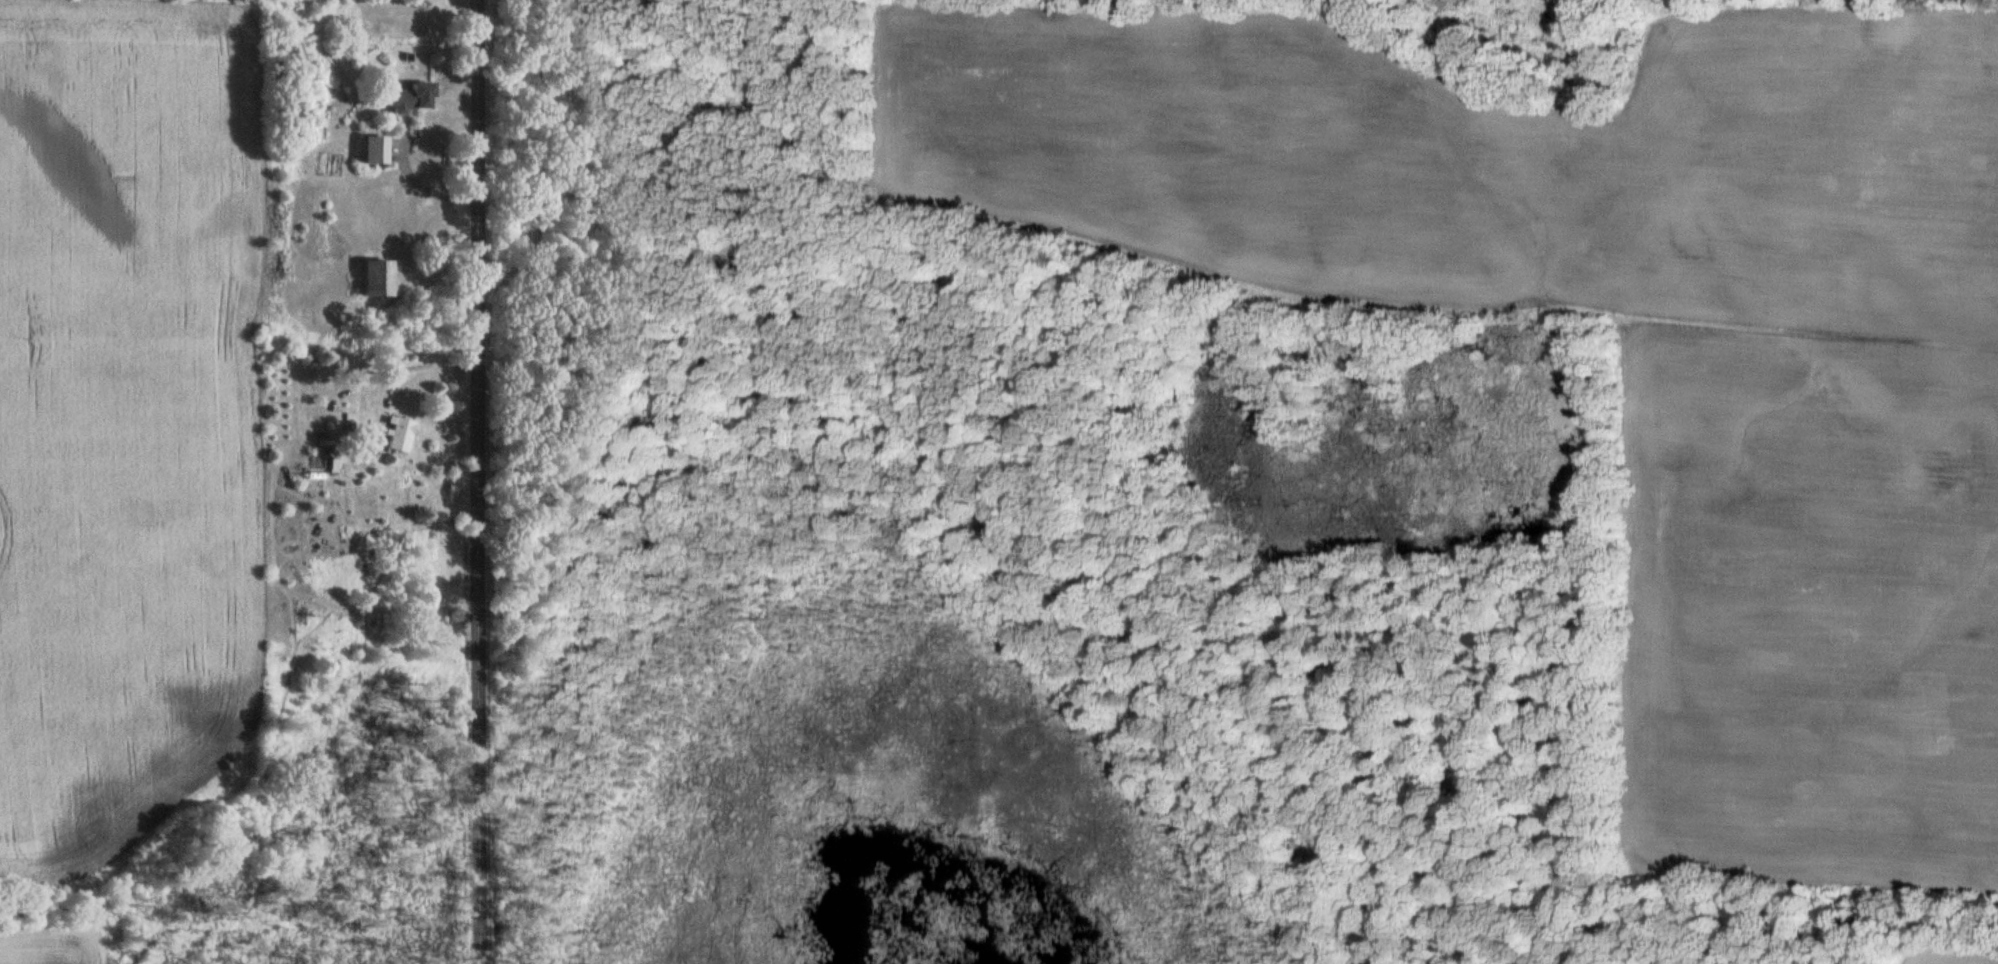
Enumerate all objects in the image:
building: (415, 98)
road: (423, 185)
building: (381, 279)
building: (402, 435)
building: (314, 476)
road: (475, 481)

